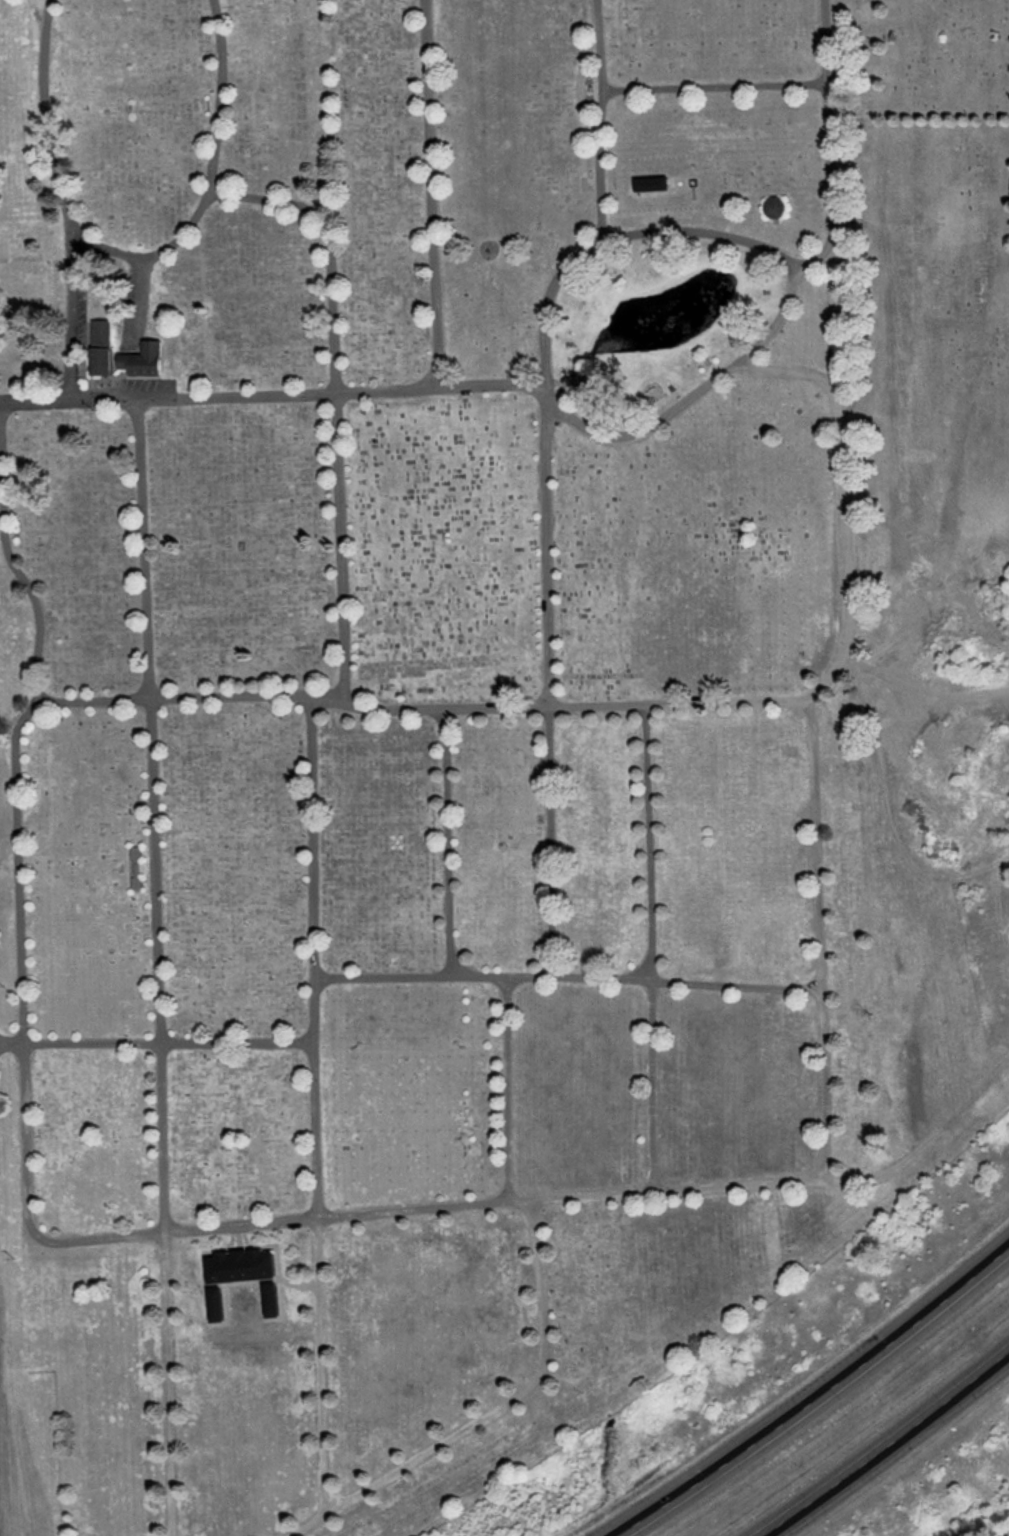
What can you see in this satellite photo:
road: (715, 87)
road: (580, 90)
road: (601, 121)
road: (829, 142)
building: (650, 183)
road: (433, 195)
building: (772, 205)
road: (131, 256)
road: (136, 301)
road: (74, 315)
building: (122, 353)
road: (543, 369)
building: (575, 382)
parking lot: (143, 388)
road: (334, 396)
road: (546, 409)
road: (8, 555)
park: (483, 709)
road: (811, 733)
road: (447, 841)
building: (135, 867)
road: (651, 946)
road: (157, 966)
road: (567, 976)
road: (157, 1042)
road: (23, 1054)
road: (507, 1087)
road: (315, 1105)
road: (238, 1235)
building: (239, 1264)
road: (299, 1285)
building: (269, 1298)
building: (214, 1303)
road: (820, 1400)
road: (494, 1410)
road: (892, 1450)

